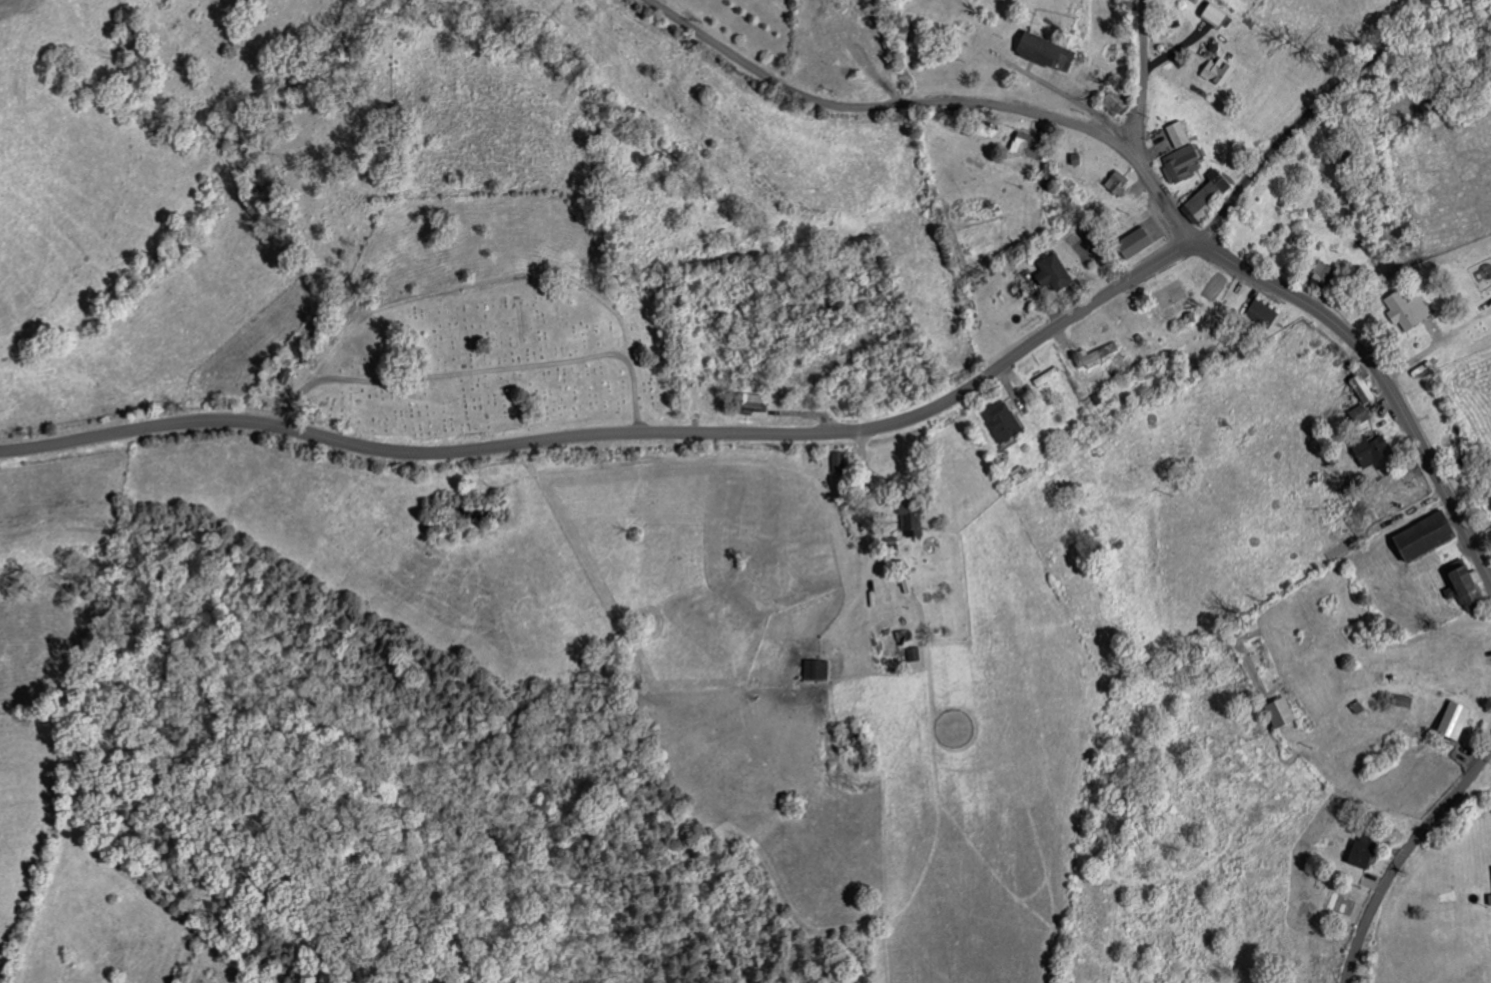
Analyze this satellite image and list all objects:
building: (1207, 13)
road: (1174, 51)
building: (1040, 52)
building: (1214, 72)
road: (1145, 77)
road: (937, 103)
road: (1079, 103)
road: (1316, 111)
building: (1174, 134)
building: (1018, 143)
building: (1178, 164)
building: (1114, 183)
building: (1203, 195)
flagpole: (1142, 227)
road: (1162, 227)
building: (1131, 243)
building: (1048, 272)
building: (1318, 274)
park: (1169, 294)
building: (1402, 311)
building: (1258, 313)
road: (1378, 374)
building: (1049, 376)
building: (1355, 415)
building: (1005, 421)
road: (615, 433)
building: (1366, 449)
building: (842, 461)
building: (916, 523)
building: (1416, 538)
building: (1472, 577)
building: (1459, 587)
building: (901, 654)
building: (820, 669)
building: (1401, 701)
building: (1285, 712)
building: (1449, 721)
building: (1366, 851)
road: (1405, 856)

